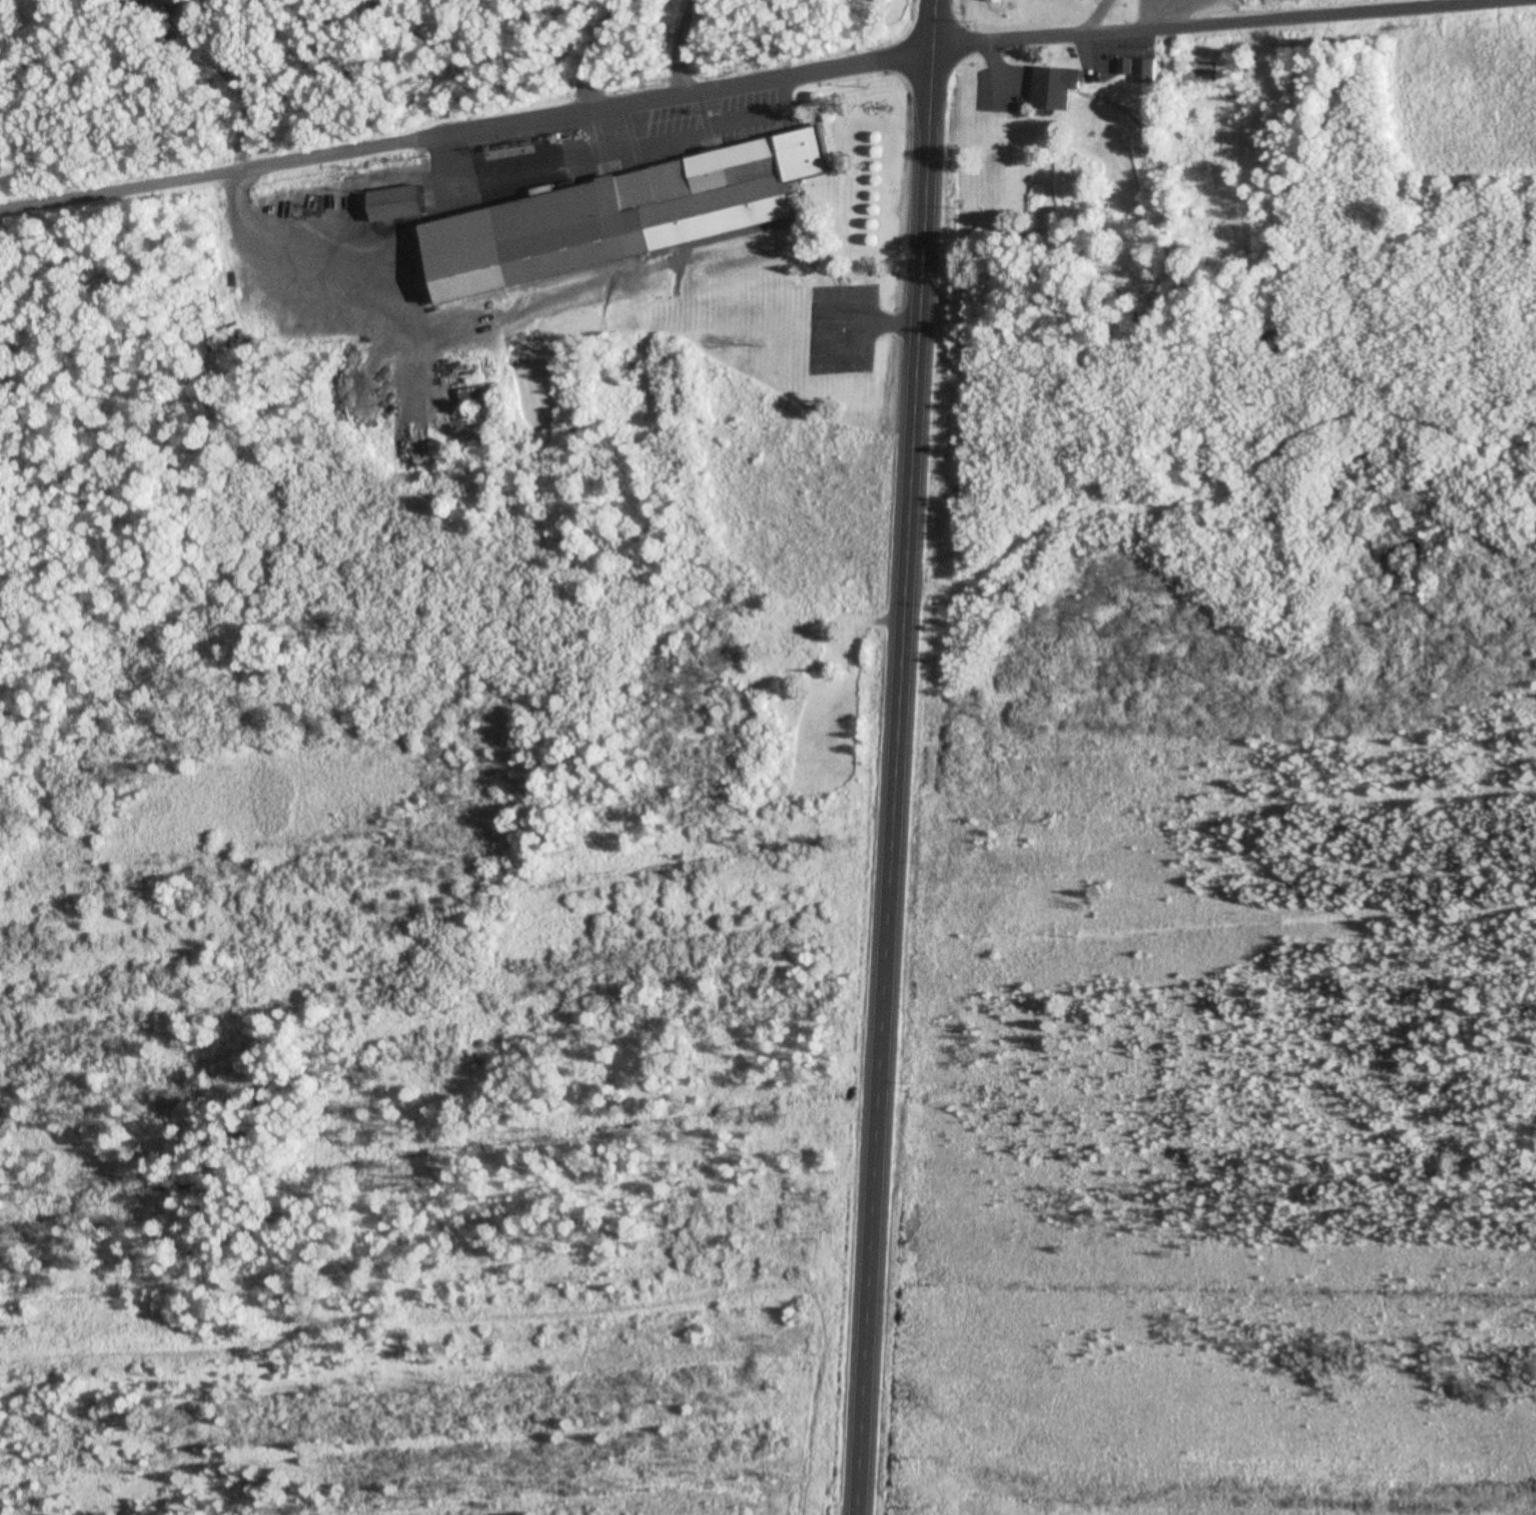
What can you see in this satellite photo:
building: (1095, 0)
road: (1231, 33)
building: (1140, 69)
building: (1058, 87)
road: (463, 133)
building: (402, 203)
building: (627, 218)
building: (473, 398)
road: (887, 757)

